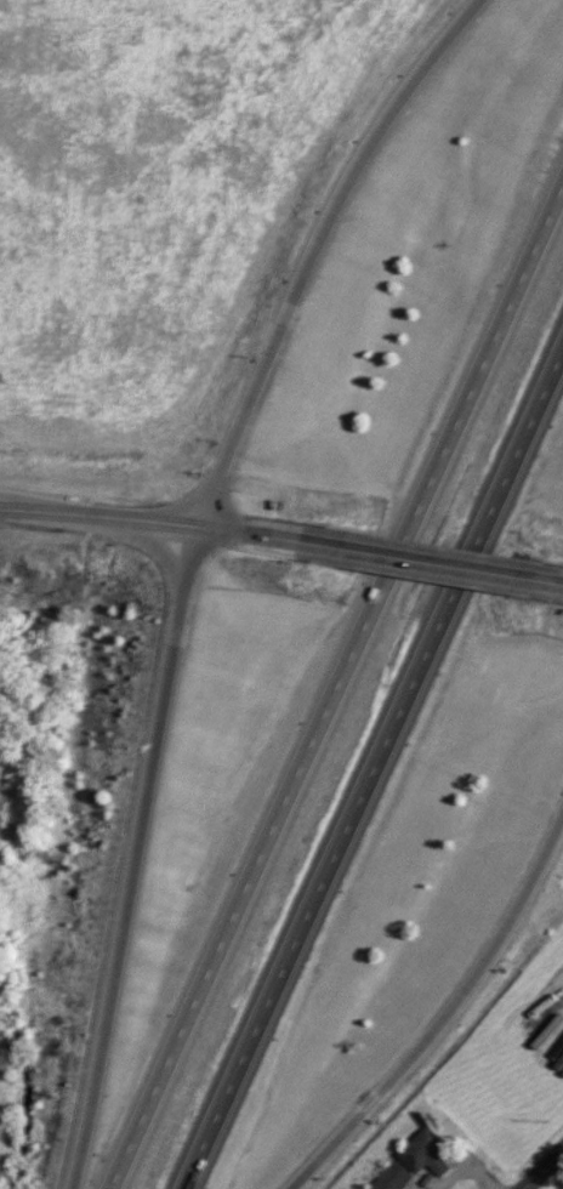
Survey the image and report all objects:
road: (231, 205)
road: (314, 257)
road: (98, 534)
road: (269, 551)
road: (438, 575)
road: (548, 593)
road: (340, 690)
road: (376, 776)
road: (136, 866)
road: (448, 1020)
building: (427, 1155)
road: (545, 1171)
building: (396, 1178)

